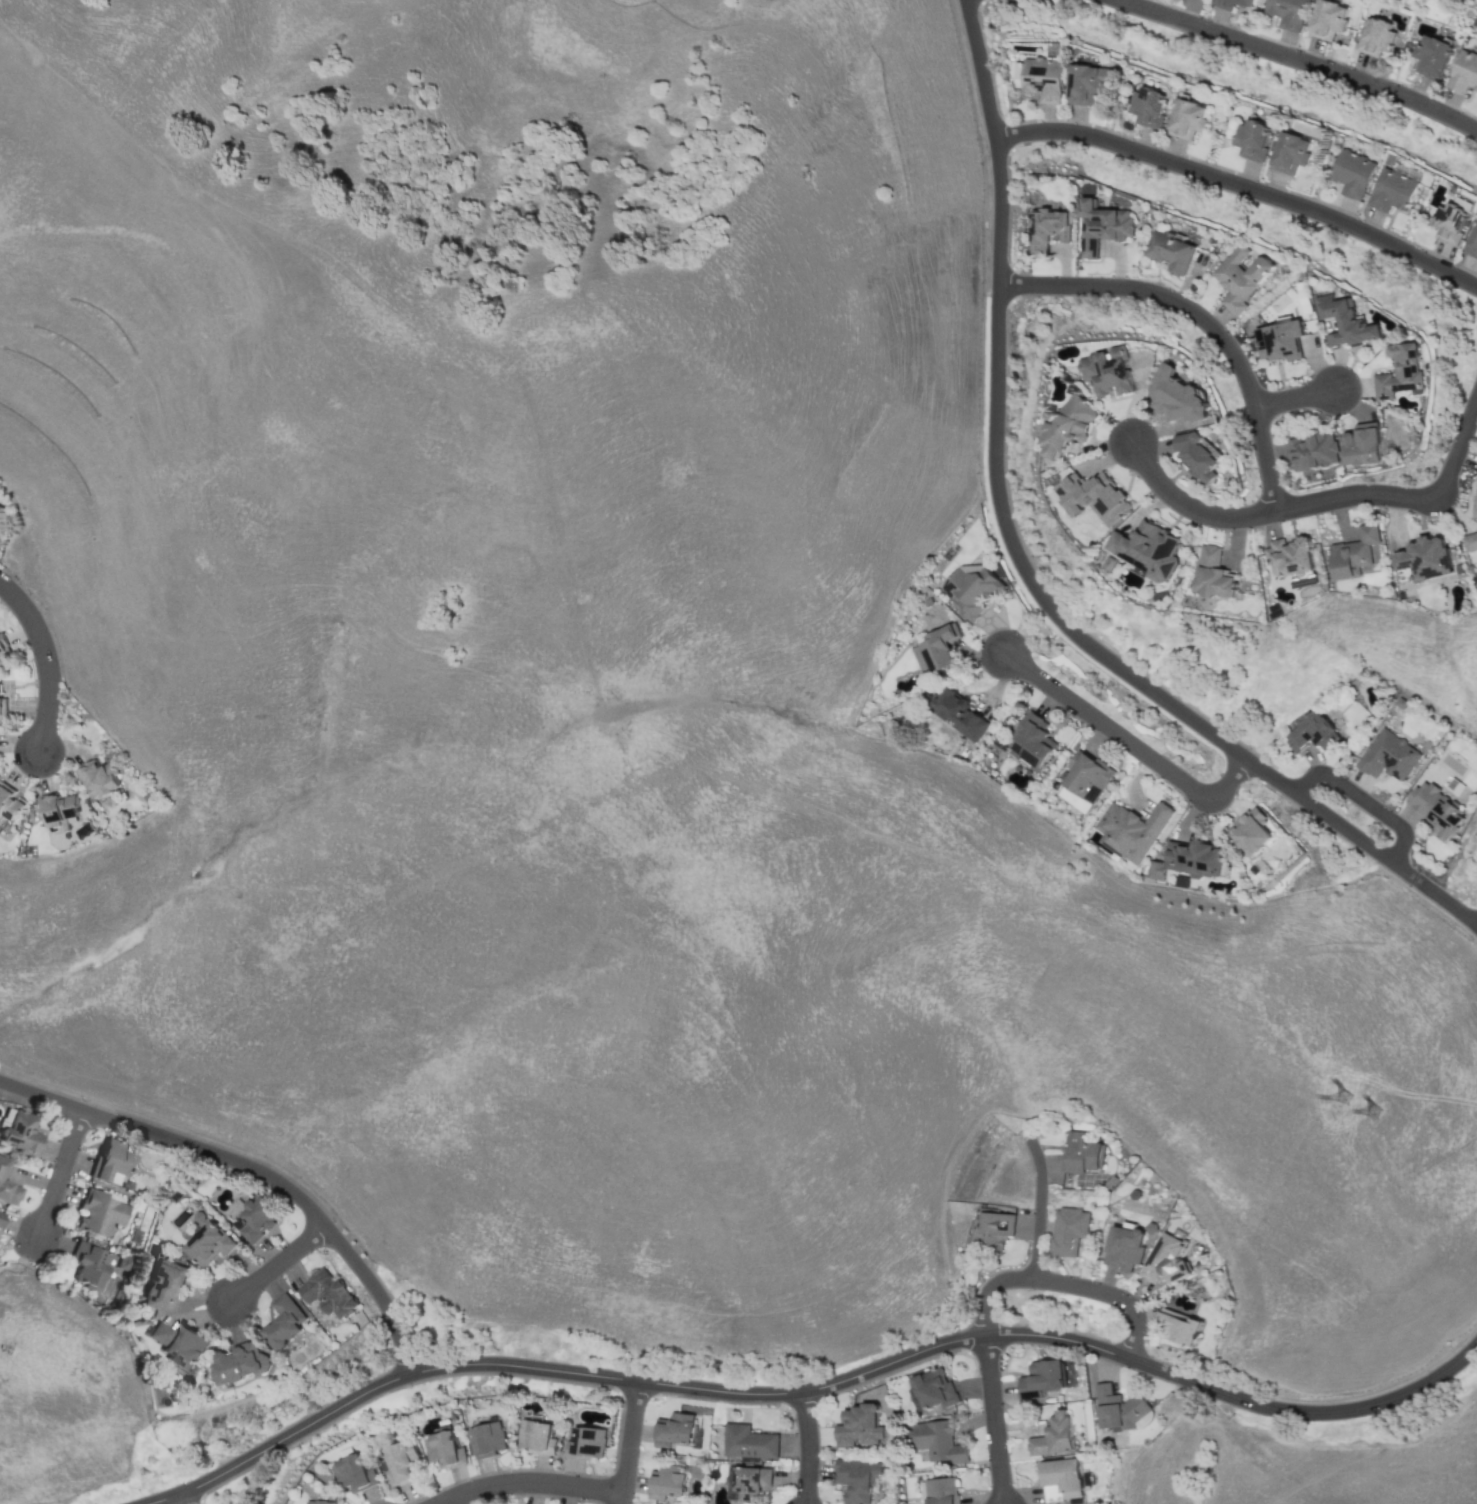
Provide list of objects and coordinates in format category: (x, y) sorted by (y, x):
building: (1233, 3)
building: (1288, 12)
building: (1328, 19)
building: (1375, 36)
building: (1432, 56)
road: (1301, 60)
building: (1464, 72)
building: (1040, 78)
building: (1089, 83)
building: (1150, 106)
building: (1188, 118)
building: (1251, 139)
building: (1289, 153)
building: (1353, 173)
road: (1240, 186)
building: (1393, 190)
building: (1450, 222)
building: (1100, 226)
building: (1047, 230)
building: (1472, 243)
building: (1171, 251)
building: (1242, 277)
road: (1200, 318)
building: (1345, 321)
building: (1282, 340)
building: (1105, 371)
building: (1400, 371)
road: (1475, 395)
building: (1177, 396)
road: (1294, 397)
building: (1068, 426)
building: (1363, 444)
road: (992, 447)
building: (1313, 451)
building: (1199, 453)
building: (1091, 495)
road: (1405, 497)
road: (1187, 507)
building: (1476, 511)
building: (0, 514)
building: (1469, 541)
building: (1146, 548)
building: (1352, 552)
building: (1288, 557)
building: (1424, 557)
building: (1211, 573)
building: (970, 587)
building: (3, 645)
building: (935, 650)
road: (43, 660)
building: (3, 708)
building: (956, 713)
building: (1310, 733)
road: (1126, 741)
building: (1031, 742)
building: (1388, 756)
building: (1086, 775)
building: (98, 778)
road: (1362, 800)
building: (8, 803)
building: (1437, 809)
building: (59, 812)
building: (1131, 829)
building: (1250, 831)
road: (1373, 849)
building: (1188, 859)
power tower: (1344, 1094)
power tower: (1376, 1109)
building: (20, 1133)
building: (1080, 1154)
building: (111, 1160)
building: (2, 1165)
road: (250, 1168)
road: (59, 1172)
building: (9, 1193)
road: (1037, 1206)
building: (99, 1212)
building: (1, 1217)
building: (253, 1219)
building: (991, 1231)
building: (1066, 1231)
building: (207, 1243)
building: (1122, 1247)
building: (1163, 1259)
building: (90, 1263)
road: (275, 1263)
road: (1063, 1282)
building: (163, 1284)
building: (327, 1293)
building: (284, 1321)
building: (1178, 1327)
building: (178, 1343)
building: (238, 1363)
road: (554, 1369)
building: (1042, 1375)
building: (931, 1389)
road: (1235, 1397)
building: (1116, 1407)
road: (993, 1419)
building: (859, 1426)
building: (675, 1430)
building: (1053, 1436)
building: (536, 1437)
building: (486, 1439)
road: (628, 1441)
building: (938, 1441)
building: (748, 1442)
building: (585, 1443)
road: (806, 1447)
building: (443, 1449)
building: (399, 1461)
building: (350, 1472)
building: (856, 1478)
building: (1061, 1479)
road: (526, 1481)
building: (667, 1481)
building: (750, 1481)
building: (940, 1490)
road: (183, 1498)
building: (320, 1502)

